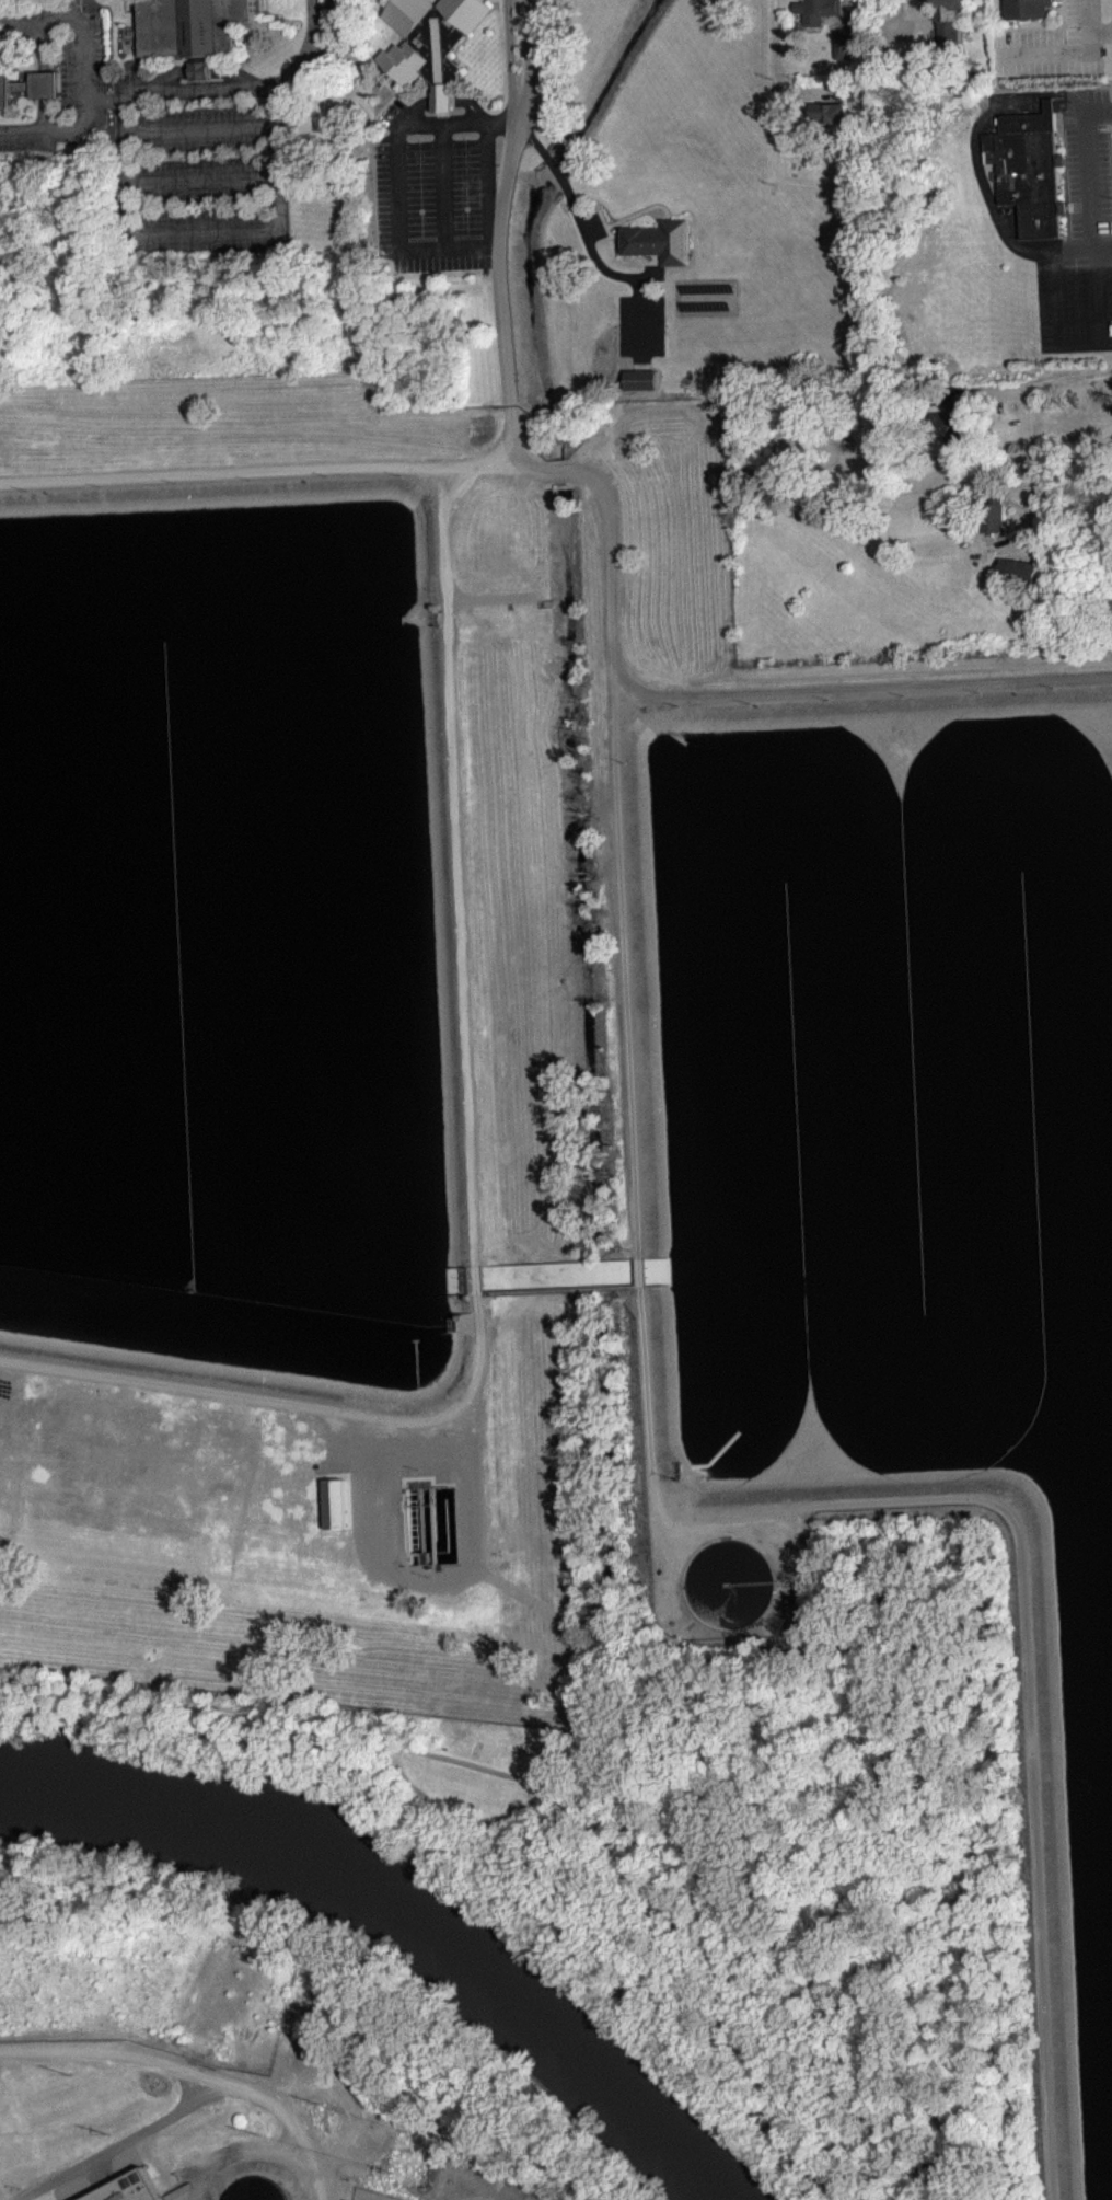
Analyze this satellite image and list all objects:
building: (1027, 8)
building: (816, 10)
road: (310, 14)
road: (853, 14)
road: (922, 18)
building: (950, 20)
road: (328, 21)
road: (1017, 22)
road: (1041, 26)
building: (187, 30)
road: (1100, 30)
road: (26, 41)
building: (429, 41)
building: (847, 41)
parking lot: (1053, 45)
road: (1067, 51)
road: (299, 61)
road: (83, 69)
road: (201, 69)
road: (170, 74)
road: (238, 74)
road: (780, 74)
road: (46, 78)
building: (202, 78)
building: (25, 81)
road: (505, 84)
building: (854, 90)
parking lot: (67, 91)
road: (182, 91)
road: (438, 93)
road: (390, 96)
road: (409, 97)
road: (106, 100)
building: (831, 112)
road: (461, 118)
road: (975, 163)
building: (1028, 168)
parking lot: (198, 170)
road: (489, 176)
road: (206, 177)
parking lot: (430, 195)
road: (576, 207)
road: (628, 215)
road: (601, 217)
road: (1093, 230)
road: (155, 231)
parking lot: (1080, 234)
road: (602, 239)
building: (660, 240)
road: (475, 243)
road: (422, 245)
road: (1054, 300)
road: (645, 315)
parking lot: (644, 316)
building: (641, 378)
road: (1033, 389)
building: (948, 415)
road: (480, 463)
road: (222, 471)
road: (1033, 475)
building: (994, 514)
road: (610, 553)
building: (1022, 571)
road: (635, 710)
road: (460, 867)
road: (626, 955)
road: (640, 1272)
road: (477, 1279)
wastewater plant: (535, 1336)
road: (292, 1402)
road: (461, 1431)
building: (338, 1504)
road: (477, 1564)
road: (1024, 1567)
road: (571, 1800)
river: (405, 1909)
building: (126, 2188)
building: (372, 2195)
power substation: (372, 2195)

